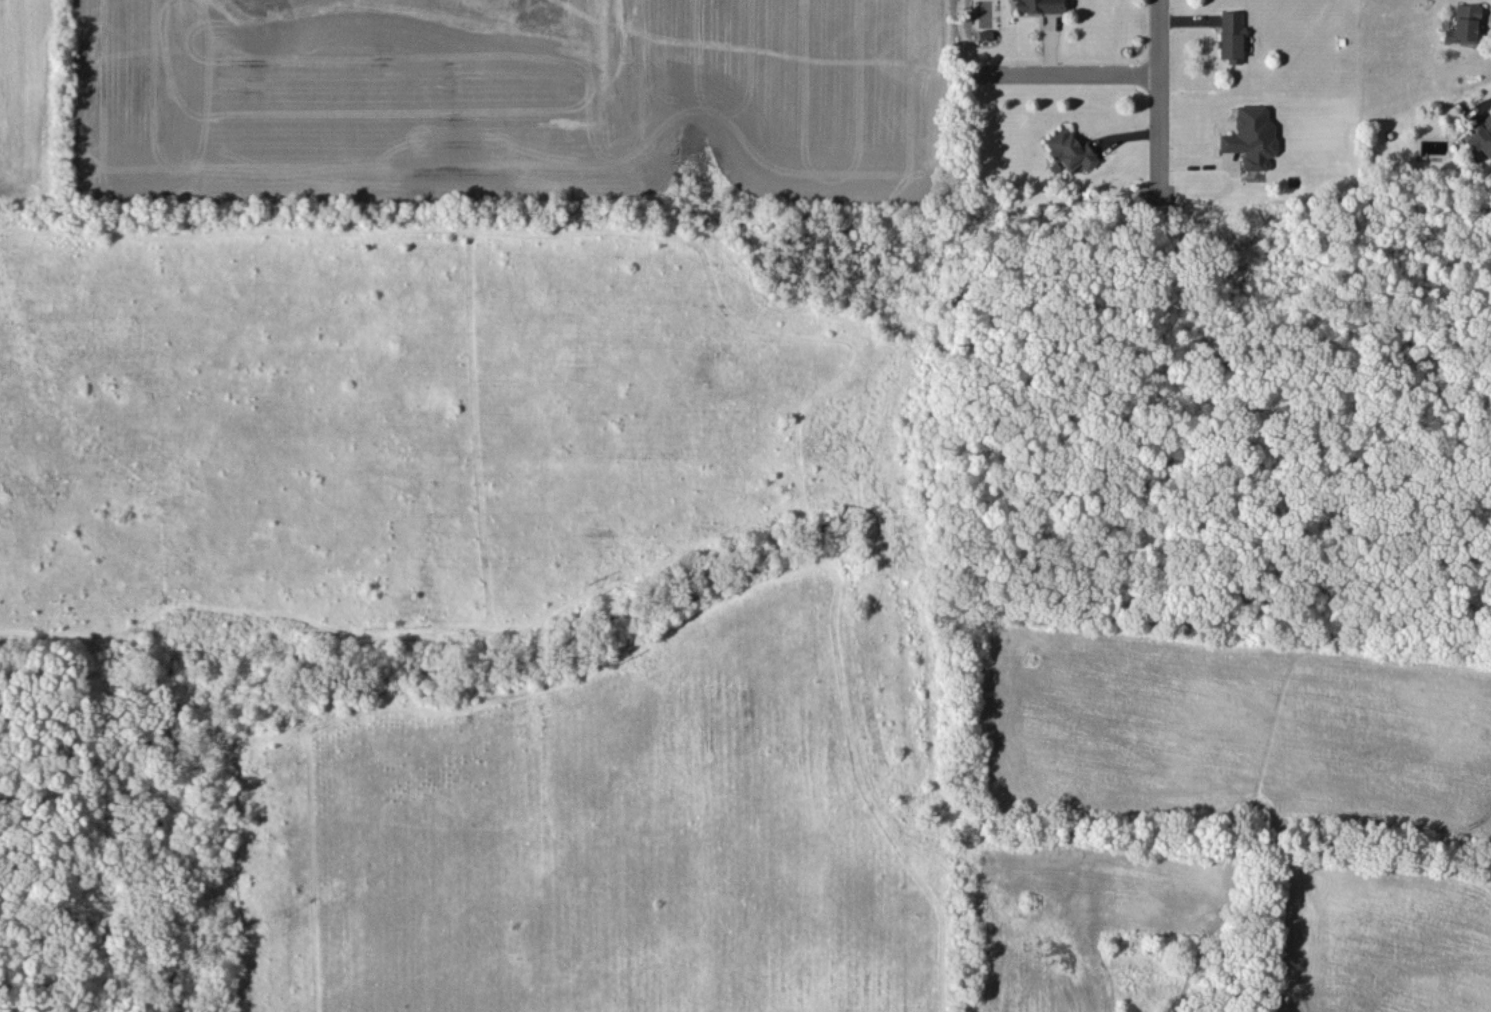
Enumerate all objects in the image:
road: (1167, 0)
building: (1040, 6)
building: (1464, 24)
building: (1231, 36)
road: (1053, 37)
road: (1158, 72)
road: (1064, 73)
road: (1479, 107)
building: (1251, 136)
building: (1480, 137)
building: (1071, 150)

